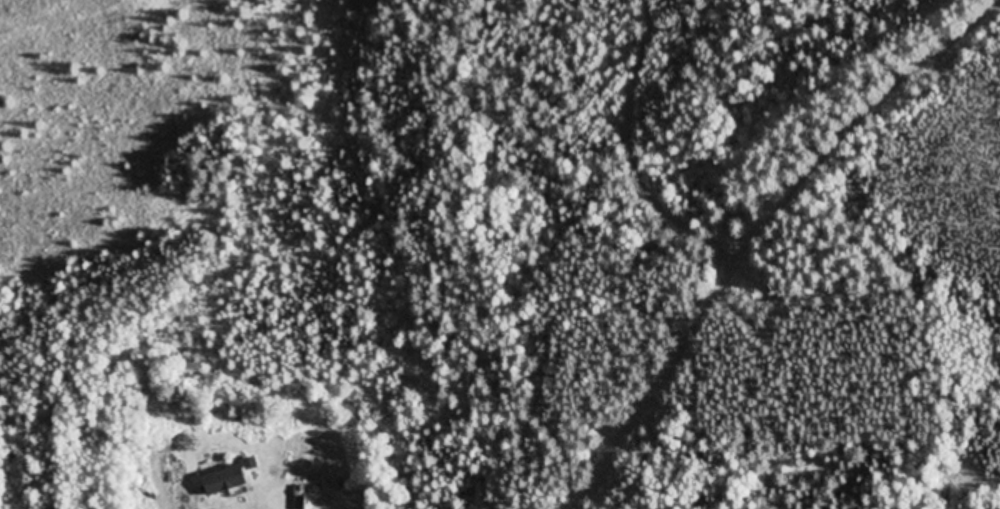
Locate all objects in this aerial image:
building: (227, 481)
building: (301, 498)

